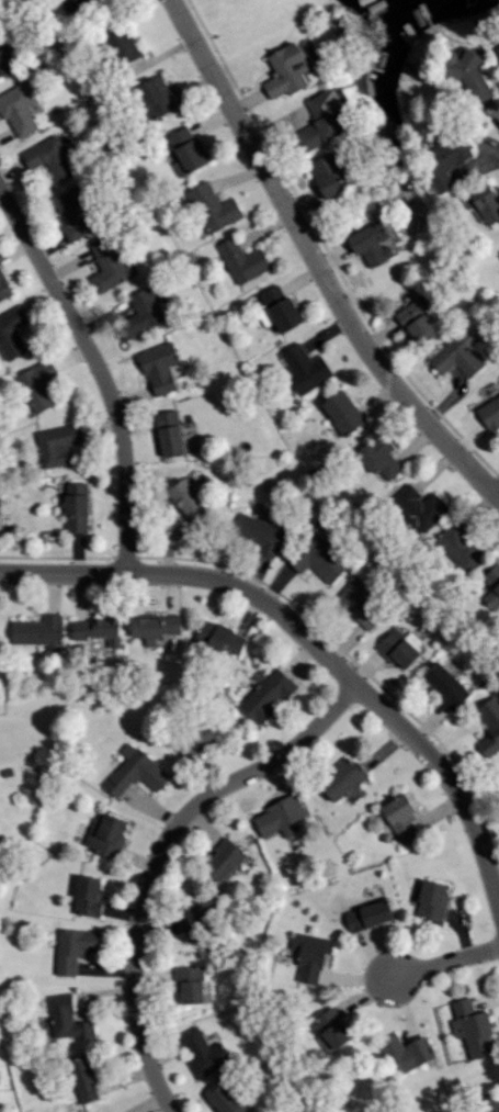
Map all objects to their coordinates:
building: (78, 3)
building: (121, 42)
building: (498, 48)
building: (7, 60)
building: (287, 70)
building: (467, 74)
building: (157, 97)
building: (20, 109)
building: (325, 120)
building: (188, 150)
building: (50, 158)
building: (447, 160)
building: (330, 173)
building: (487, 202)
building: (215, 206)
building: (76, 213)
building: (373, 244)
building: (245, 260)
road: (317, 263)
building: (111, 265)
building: (4, 287)
building: (280, 308)
building: (145, 312)
building: (418, 323)
building: (13, 332)
building: (458, 355)
building: (160, 367)
building: (306, 368)
road: (100, 370)
building: (39, 384)
building: (343, 412)
building: (490, 413)
building: (171, 433)
building: (59, 443)
building: (381, 457)
road: (497, 495)
building: (191, 501)
building: (78, 507)
building: (420, 507)
building: (260, 532)
building: (462, 547)
building: (319, 558)
building: (492, 587)
building: (360, 604)
building: (156, 627)
building: (99, 629)
building: (39, 631)
building: (222, 638)
road: (309, 640)
building: (400, 647)
building: (446, 685)
building: (269, 695)
building: (490, 725)
building: (193, 745)
building: (136, 771)
building: (343, 779)
building: (281, 817)
building: (402, 818)
building: (107, 834)
road: (159, 856)
building: (226, 862)
building: (89, 896)
building: (433, 900)
building: (370, 914)
building: (194, 920)
building: (75, 948)
building: (311, 956)
road: (445, 964)
building: (191, 984)
building: (69, 1019)
building: (334, 1027)
building: (474, 1027)
building: (204, 1053)
building: (408, 1053)
building: (86, 1079)
building: (227, 1100)
building: (490, 1103)

